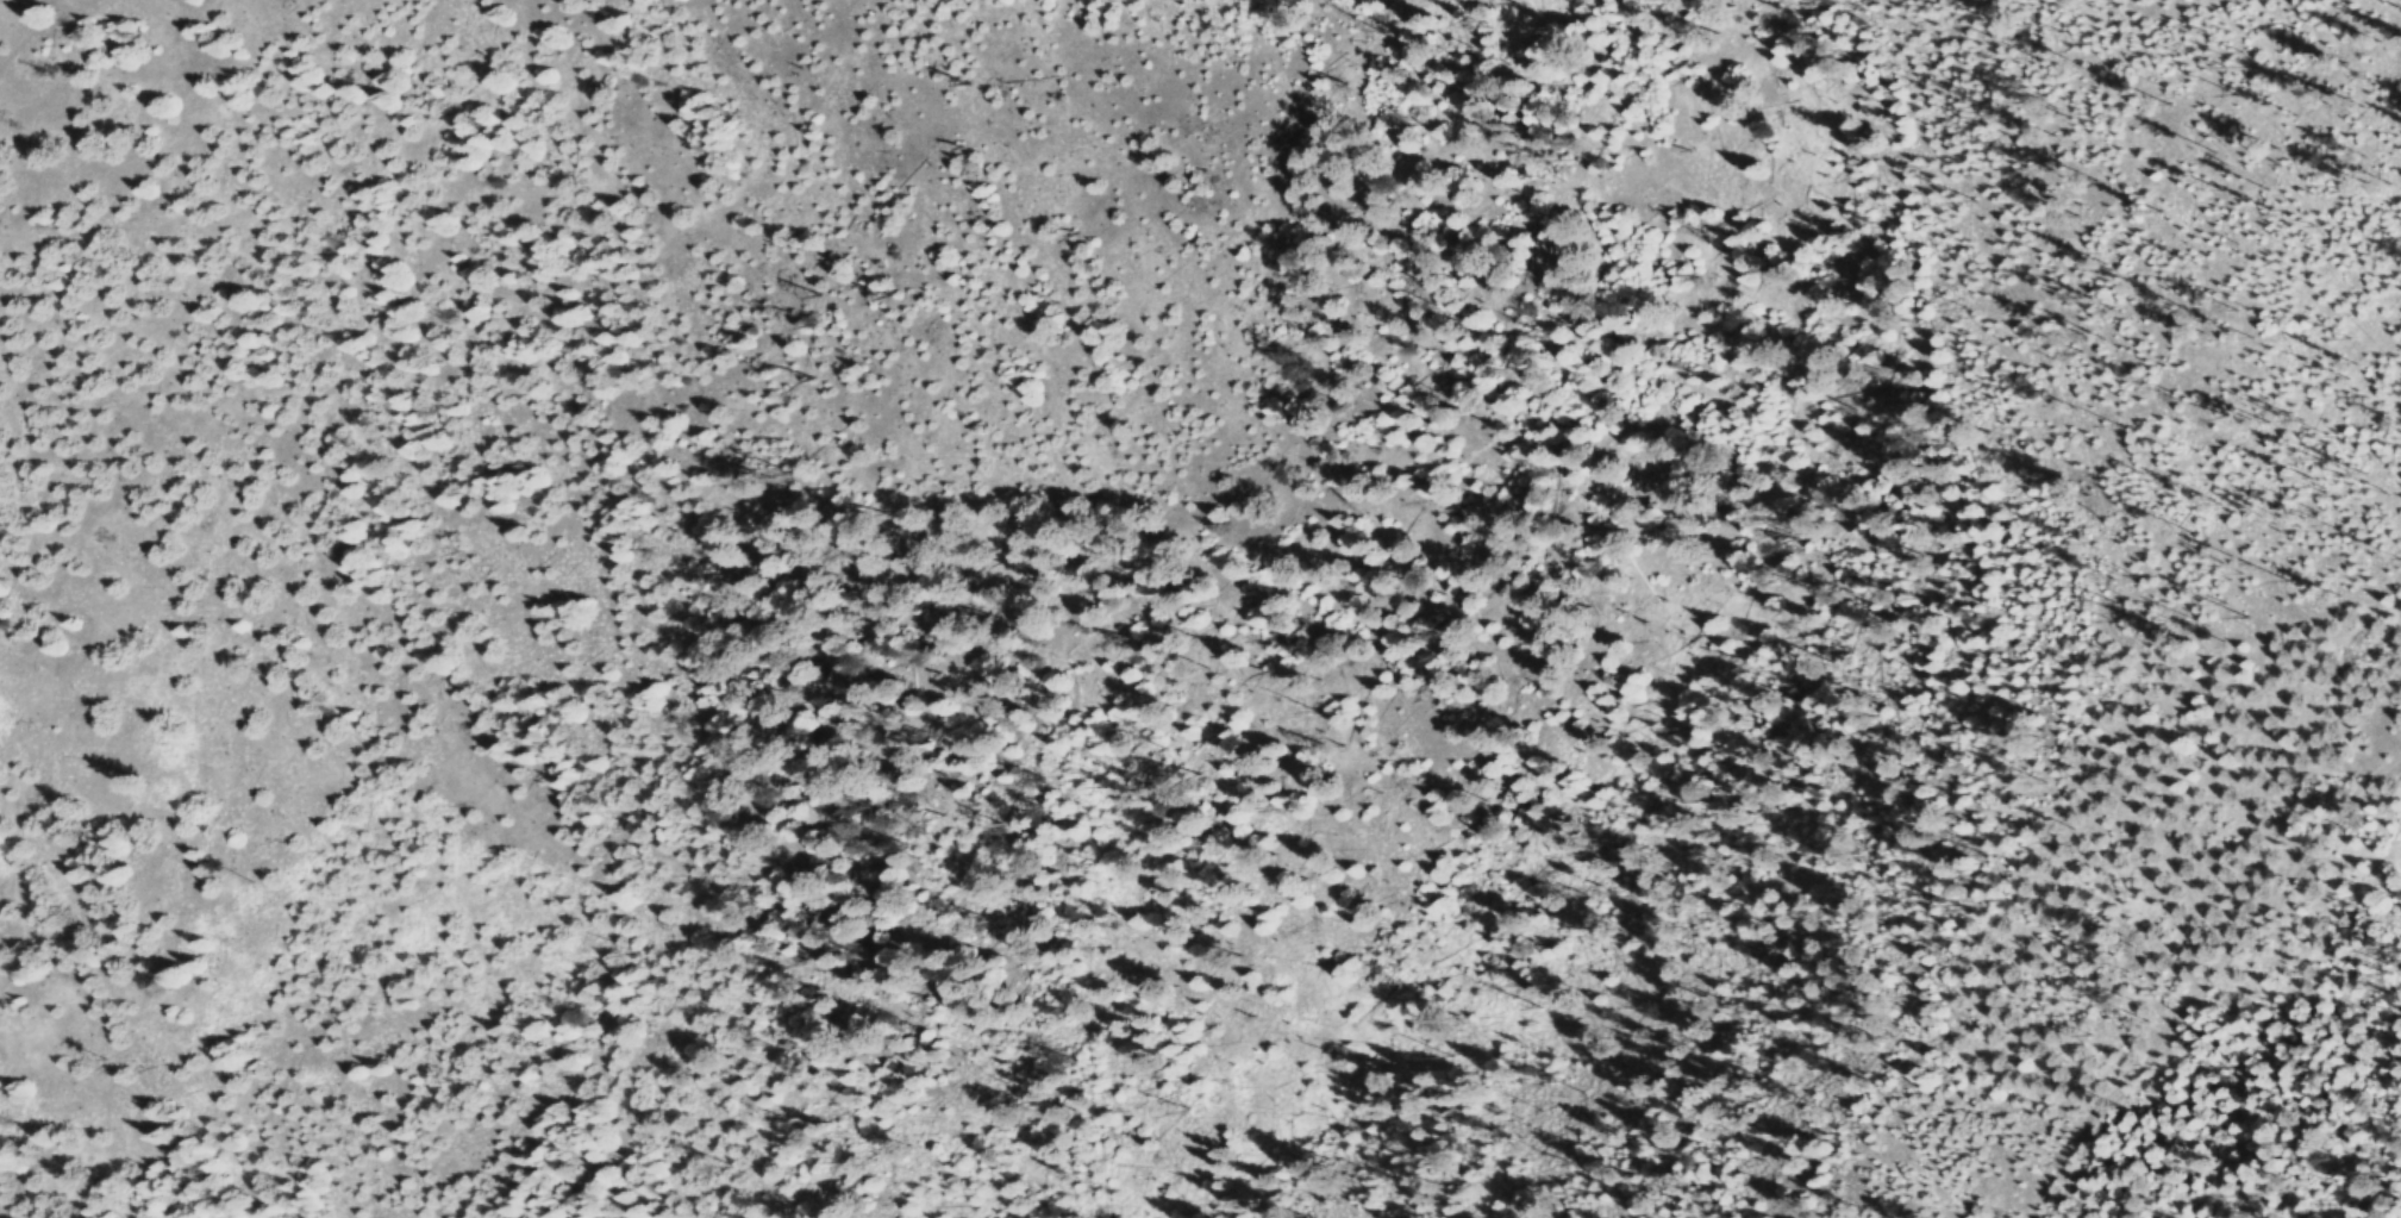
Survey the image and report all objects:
road: (2207, 976)
road: (52, 1191)

